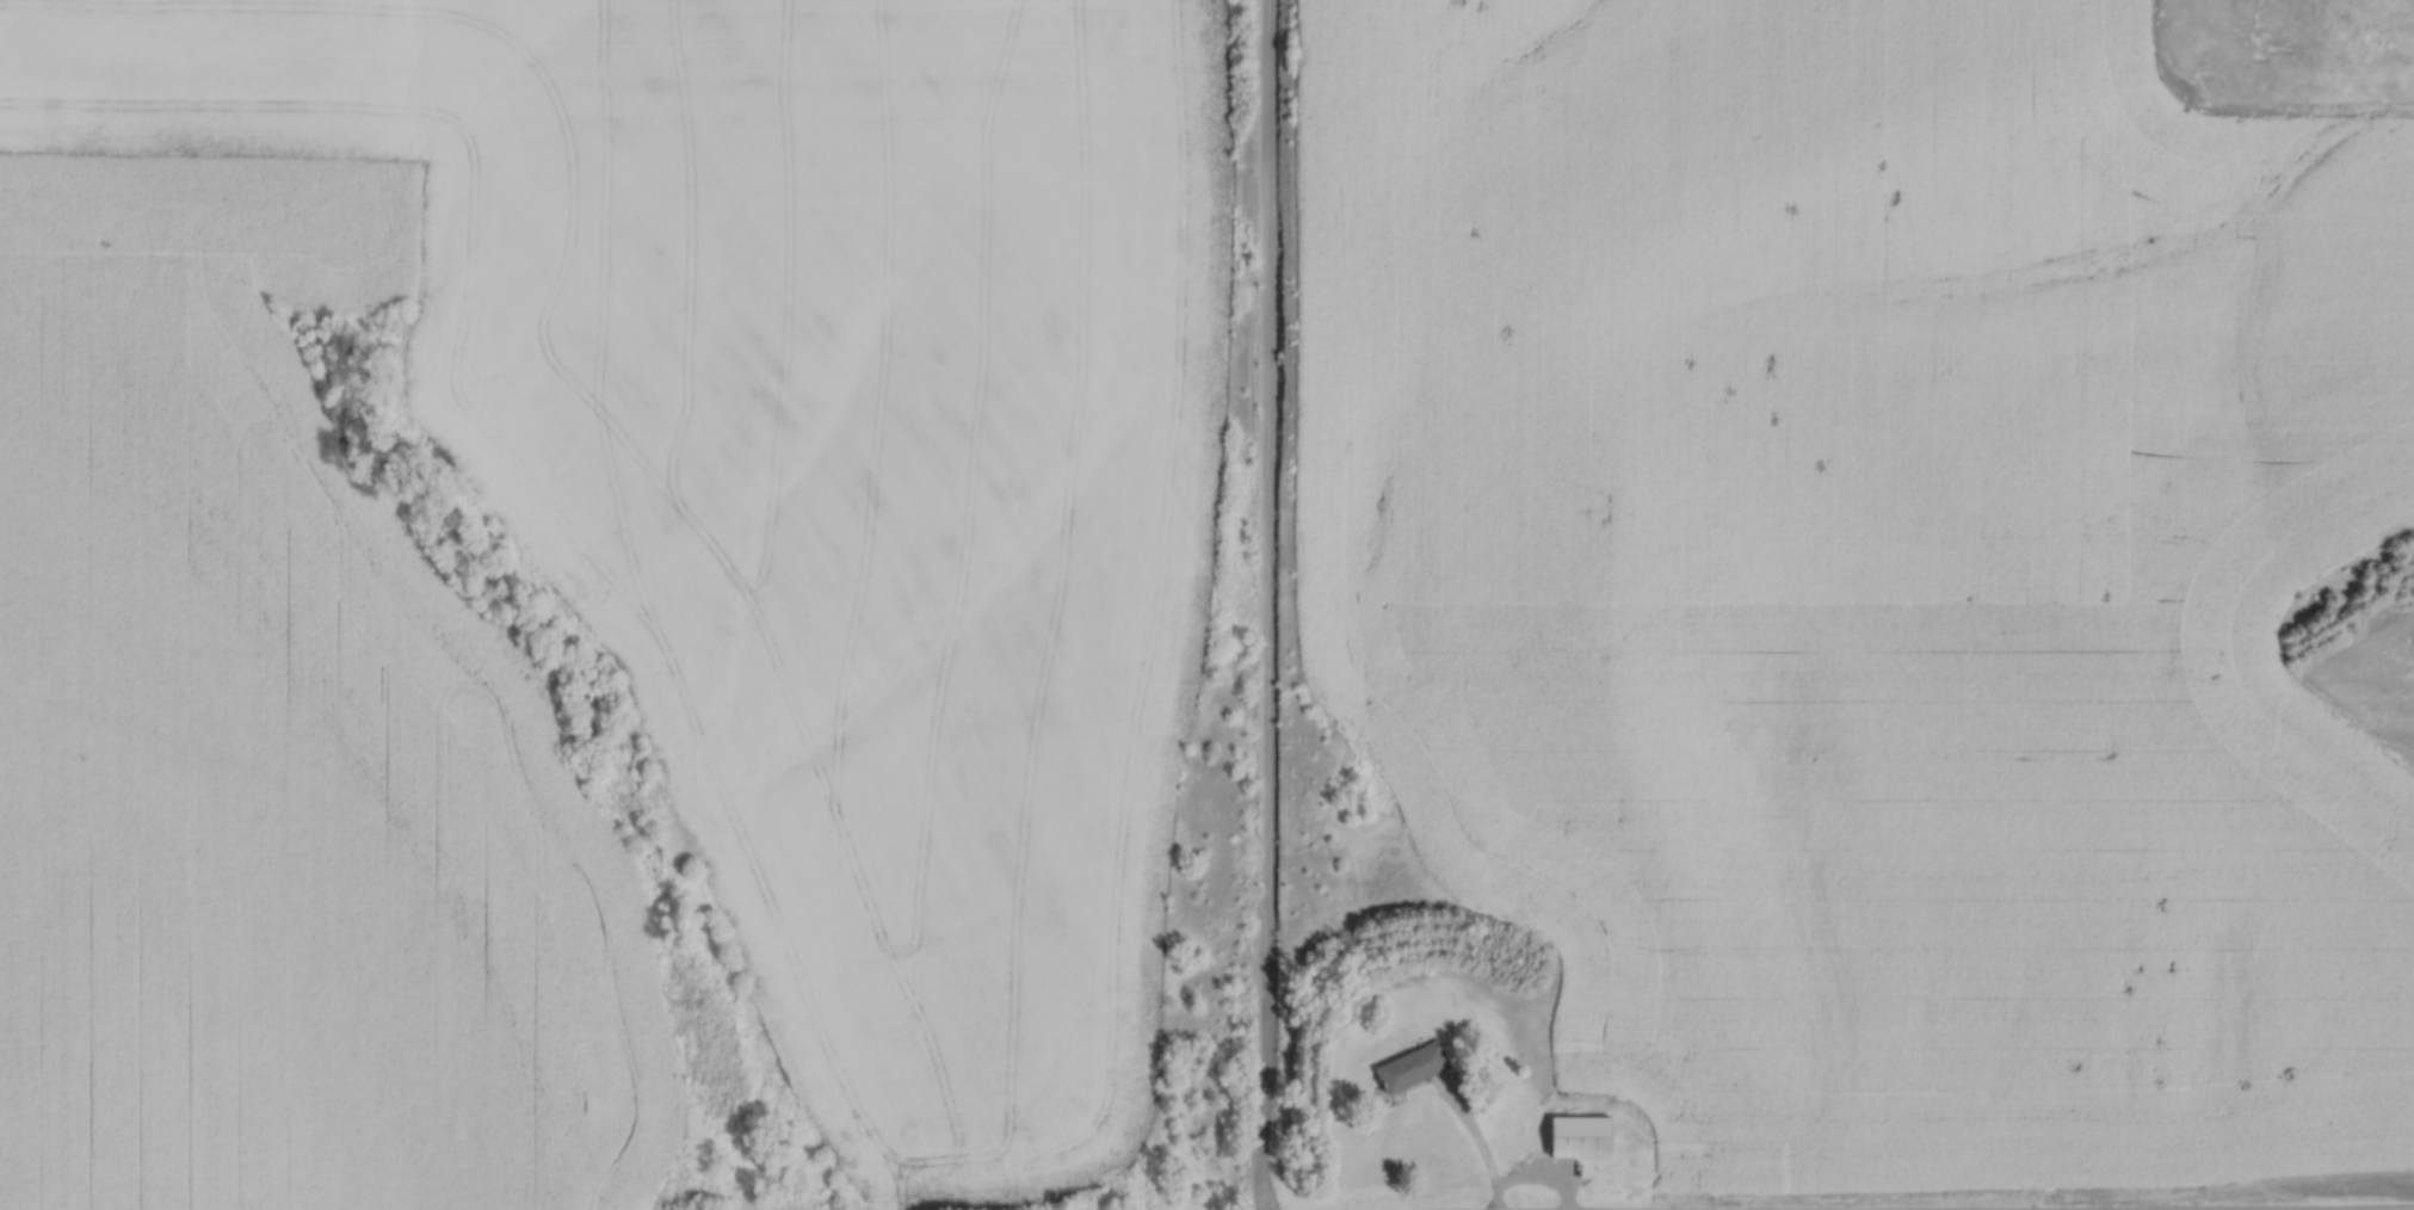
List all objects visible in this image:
road: (1265, 605)
building: (1407, 1063)
building: (1575, 1134)
road: (1477, 1143)

